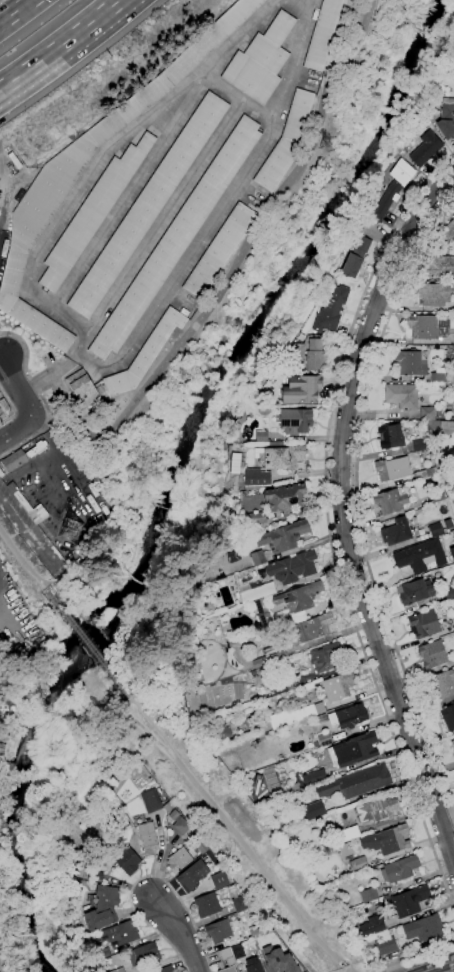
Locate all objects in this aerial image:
road: (16, 12)
building: (322, 34)
road: (61, 46)
building: (261, 60)
parking lot: (308, 80)
building: (440, 88)
road: (239, 98)
building: (446, 118)
building: (286, 141)
building: (425, 148)
power tower: (324, 150)
road: (103, 154)
building: (49, 189)
building: (392, 189)
road: (129, 193)
parking lot: (255, 196)
building: (148, 205)
road: (222, 209)
building: (93, 213)
road: (0, 219)
road: (157, 230)
road: (0, 232)
building: (447, 233)
building: (177, 238)
building: (220, 250)
building: (355, 258)
building: (440, 267)
road: (229, 278)
building: (434, 294)
parking lot: (185, 302)
building: (331, 310)
building: (427, 326)
road: (2, 352)
building: (145, 354)
building: (315, 355)
parking lot: (49, 358)
building: (410, 363)
road: (47, 377)
building: (438, 378)
road: (16, 386)
building: (83, 388)
building: (301, 390)
building: (402, 396)
road: (41, 397)
road: (13, 409)
building: (264, 409)
building: (427, 414)
building: (440, 414)
building: (450, 419)
building: (295, 420)
building: (439, 427)
building: (57, 429)
road: (17, 430)
building: (261, 435)
building: (390, 436)
building: (276, 443)
building: (419, 444)
building: (282, 457)
building: (15, 460)
building: (393, 468)
building: (1, 473)
building: (425, 473)
building: (256, 478)
building: (437, 495)
building: (286, 497)
building: (391, 500)
road: (356, 501)
building: (28, 505)
road: (341, 513)
building: (257, 518)
building: (448, 523)
road: (328, 526)
building: (70, 529)
building: (436, 529)
power tower: (68, 532)
building: (397, 532)
building: (283, 536)
building: (452, 553)
building: (233, 556)
building: (420, 556)
building: (257, 558)
road: (24, 562)
building: (290, 568)
building: (414, 592)
building: (449, 592)
building: (252, 593)
building: (299, 597)
building: (264, 615)
building: (453, 618)
building: (453, 619)
building: (424, 624)
building: (311, 629)
road: (88, 644)
building: (274, 649)
building: (432, 654)
building: (277, 656)
building: (327, 657)
building: (259, 662)
building: (265, 672)
building: (253, 673)
building: (443, 684)
building: (287, 686)
building: (338, 686)
building: (313, 709)
road: (128, 711)
building: (349, 716)
building: (448, 716)
building: (283, 718)
building: (322, 718)
building: (253, 719)
building: (265, 726)
building: (221, 735)
building: (324, 739)
building: (453, 742)
building: (316, 744)
building: (453, 746)
building: (356, 749)
building: (314, 777)
building: (356, 782)
building: (155, 802)
building: (313, 810)
building: (378, 810)
building: (179, 823)
road: (238, 833)
building: (348, 833)
building: (148, 838)
building: (387, 840)
building: (201, 847)
building: (345, 849)
building: (330, 851)
building: (181, 858)
building: (128, 861)
building: (358, 864)
building: (399, 869)
building: (192, 875)
building: (97, 876)
road: (146, 877)
building: (218, 879)
building: (231, 888)
building: (368, 895)
building: (409, 901)
building: (240, 903)
building: (207, 905)
building: (101, 907)
building: (372, 925)
building: (424, 928)
building: (257, 930)
building: (219, 931)
building: (120, 933)
road: (179, 933)
building: (386, 946)
building: (143, 954)
road: (412, 955)
building: (279, 958)
building: (226, 960)
building: (254, 965)
road: (438, 966)
building: (166, 969)
building: (118, 970)
road: (0, 971)

